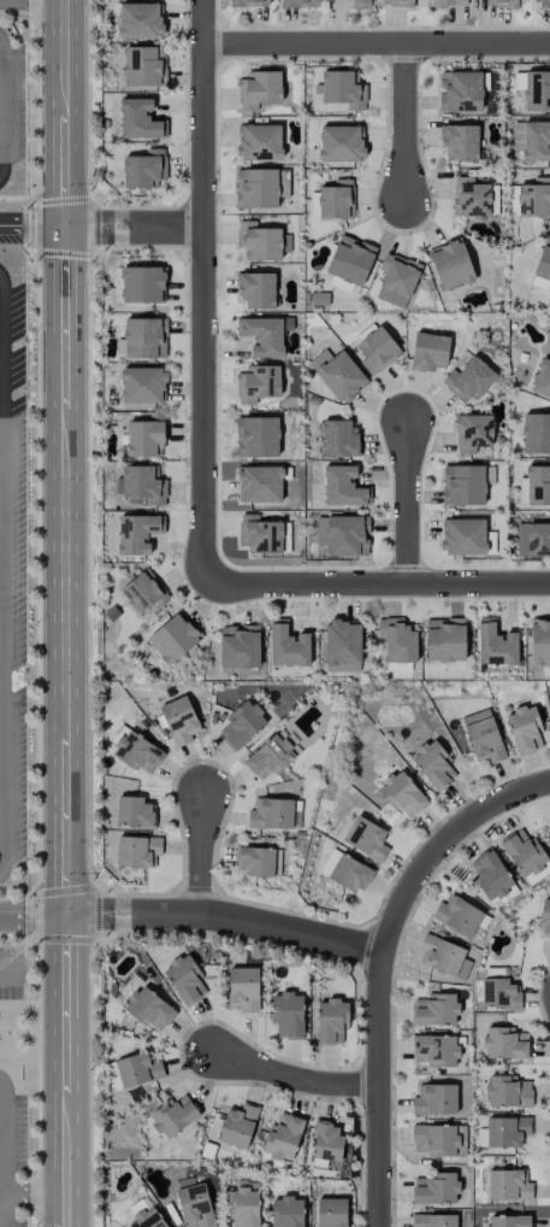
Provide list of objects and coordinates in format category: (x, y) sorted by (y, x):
road: (40, 0)
building: (249, 2)
building: (397, 2)
building: (448, 2)
building: (542, 2)
building: (300, 4)
building: (360, 4)
building: (502, 4)
building: (140, 20)
road: (375, 42)
building: (143, 66)
building: (259, 89)
building: (342, 89)
building: (537, 90)
building: (460, 92)
building: (140, 119)
road: (406, 122)
building: (518, 136)
building: (536, 141)
building: (259, 142)
building: (459, 142)
building: (341, 143)
building: (143, 169)
road: (0, 180)
building: (256, 188)
building: (471, 198)
building: (534, 199)
building: (336, 200)
road: (132, 230)
building: (261, 241)
building: (350, 260)
building: (543, 262)
building: (450, 264)
building: (396, 280)
building: (538, 283)
building: (142, 284)
building: (256, 289)
road: (202, 293)
building: (262, 335)
building: (143, 337)
building: (377, 351)
building: (428, 352)
road: (31, 359)
building: (338, 375)
building: (468, 380)
building: (542, 380)
building: (258, 383)
building: (143, 386)
building: (472, 433)
building: (536, 434)
building: (256, 436)
building: (338, 438)
building: (144, 439)
building: (259, 483)
building: (143, 485)
building: (462, 485)
building: (538, 486)
building: (343, 487)
road: (408, 503)
building: (136, 533)
building: (260, 534)
building: (342, 534)
building: (462, 536)
building: (533, 539)
road: (375, 585)
building: (143, 593)
road: (64, 597)
building: (173, 638)
road: (2, 640)
building: (397, 640)
building: (444, 640)
building: (539, 642)
building: (495, 645)
building: (238, 646)
building: (288, 646)
building: (342, 646)
building: (395, 667)
building: (179, 720)
building: (241, 724)
building: (524, 729)
building: (483, 736)
building: (137, 752)
building: (268, 757)
building: (433, 765)
building: (402, 794)
building: (134, 811)
building: (271, 814)
building: (366, 839)
building: (137, 851)
building: (524, 852)
road: (200, 855)
building: (258, 862)
building: (327, 863)
building: (350, 874)
building: (491, 877)
building: (457, 916)
road: (32, 917)
traffic signals: (66, 917)
road: (226, 920)
building: (544, 920)
building: (443, 957)
road: (384, 965)
road: (10, 979)
building: (184, 979)
building: (243, 990)
building: (499, 993)
building: (148, 1009)
building: (434, 1010)
building: (286, 1015)
building: (331, 1021)
building: (504, 1044)
building: (434, 1050)
building: (137, 1069)
road: (297, 1075)
building: (508, 1092)
building: (434, 1099)
building: (173, 1116)
building: (237, 1126)
building: (507, 1132)
road: (4, 1135)
building: (283, 1137)
building: (438, 1139)
building: (326, 1141)
building: (508, 1185)
building: (434, 1188)
road: (16, 1192)
road: (47, 1193)
building: (194, 1205)
building: (243, 1208)
road: (4, 1209)
road: (66, 1210)
building: (286, 1211)
building: (331, 1213)
building: (147, 1219)
building: (433, 1220)
building: (508, 1221)

